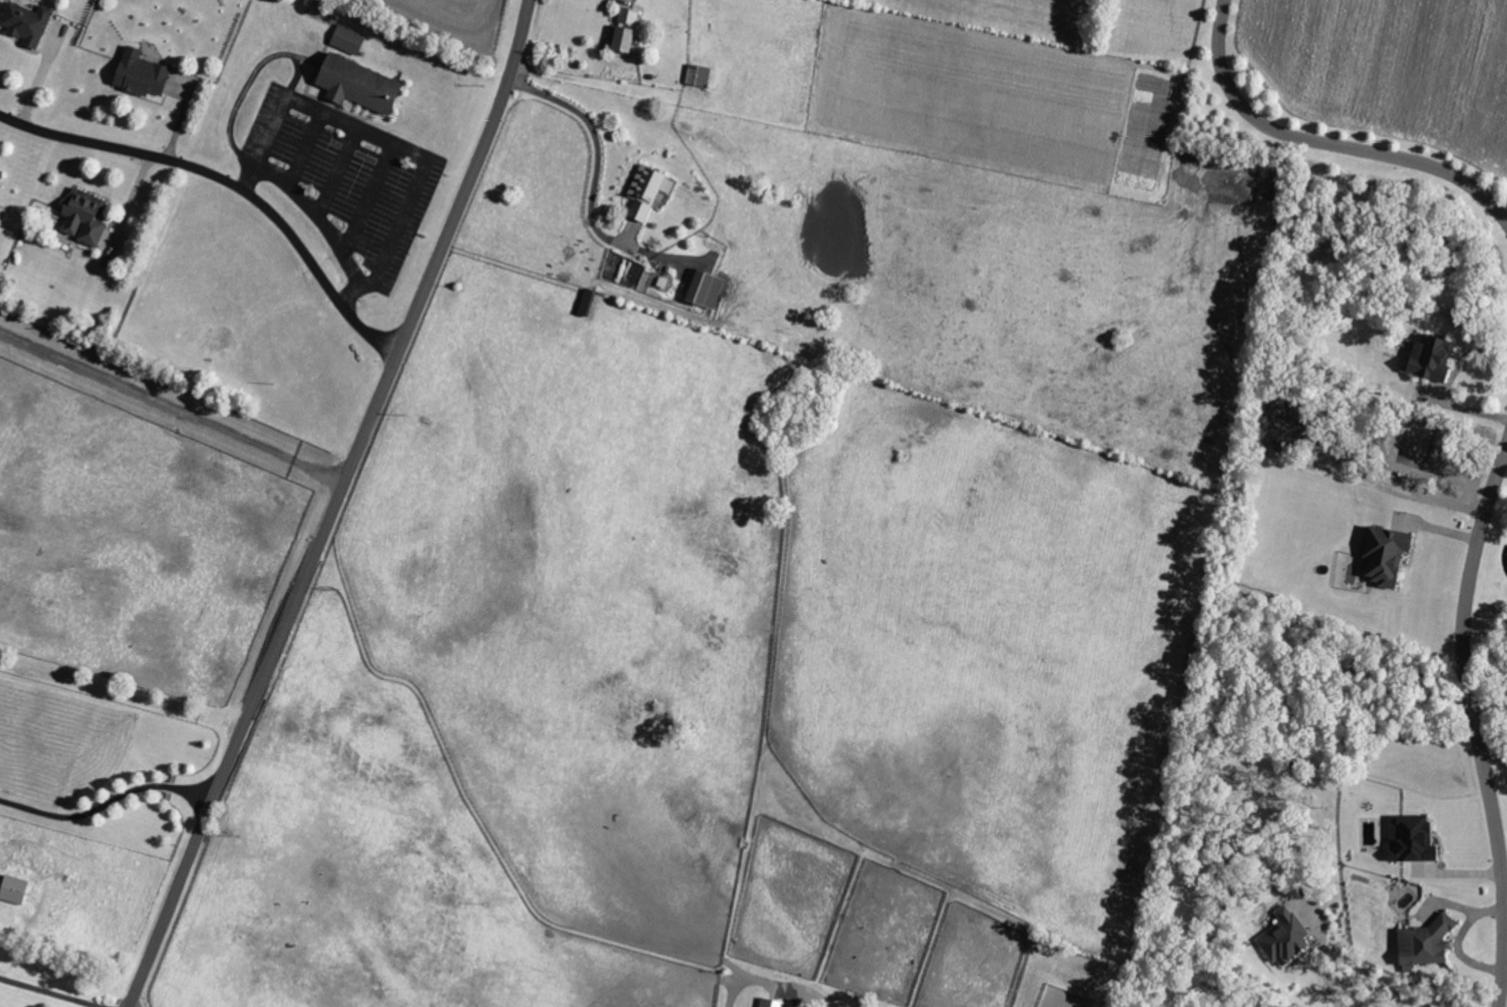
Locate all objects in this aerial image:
building: (29, 23)
building: (628, 30)
building: (351, 40)
building: (145, 74)
building: (701, 75)
building: (363, 85)
road: (595, 134)
road: (386, 139)
road: (1324, 144)
building: (0, 178)
road: (230, 185)
building: (649, 191)
road: (129, 205)
road: (316, 217)
building: (87, 218)
building: (711, 289)
building: (1435, 357)
road: (1448, 385)
road: (173, 407)
road: (336, 505)
building: (1390, 555)
road: (1474, 726)
road: (106, 801)
building: (1415, 839)
building: (17, 890)
building: (1288, 939)
building: (1424, 945)
road: (1324, 965)
road: (773, 983)
road: (48, 993)
building: (774, 1003)

